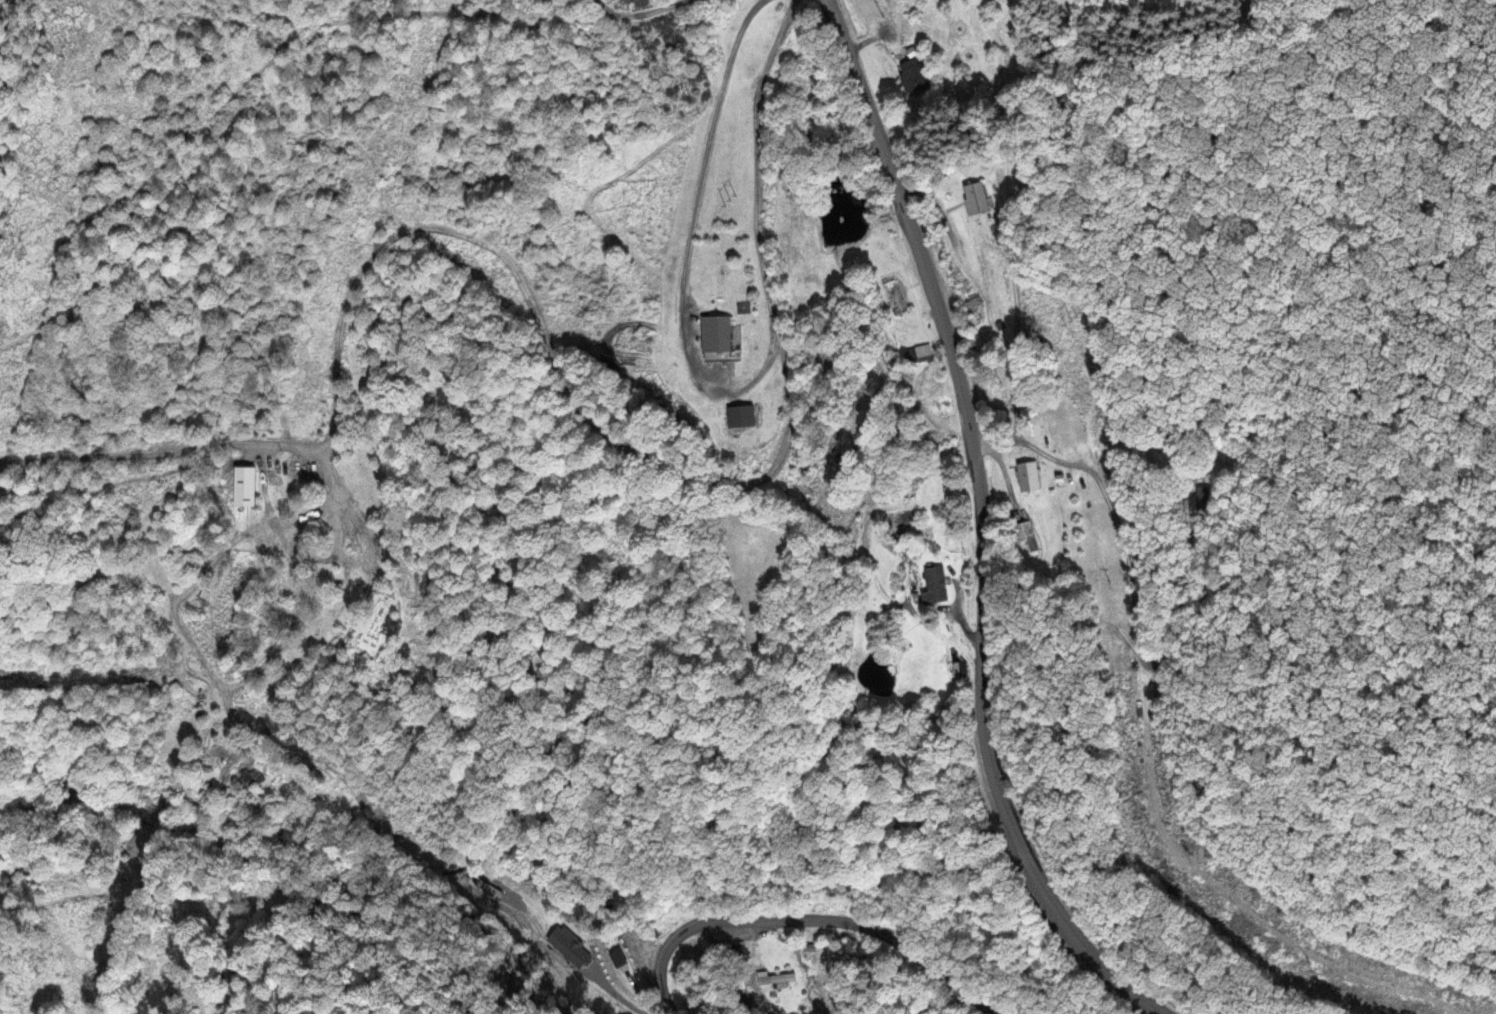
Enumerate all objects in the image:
building: (870, 10)
building: (917, 77)
building: (977, 198)
building: (901, 295)
building: (720, 334)
building: (926, 350)
building: (746, 418)
building: (1031, 476)
building: (249, 485)
road: (983, 524)
building: (1032, 538)
building: (937, 585)
building: (957, 667)
building: (253, 782)
road: (806, 920)
building: (567, 950)
building: (779, 976)

